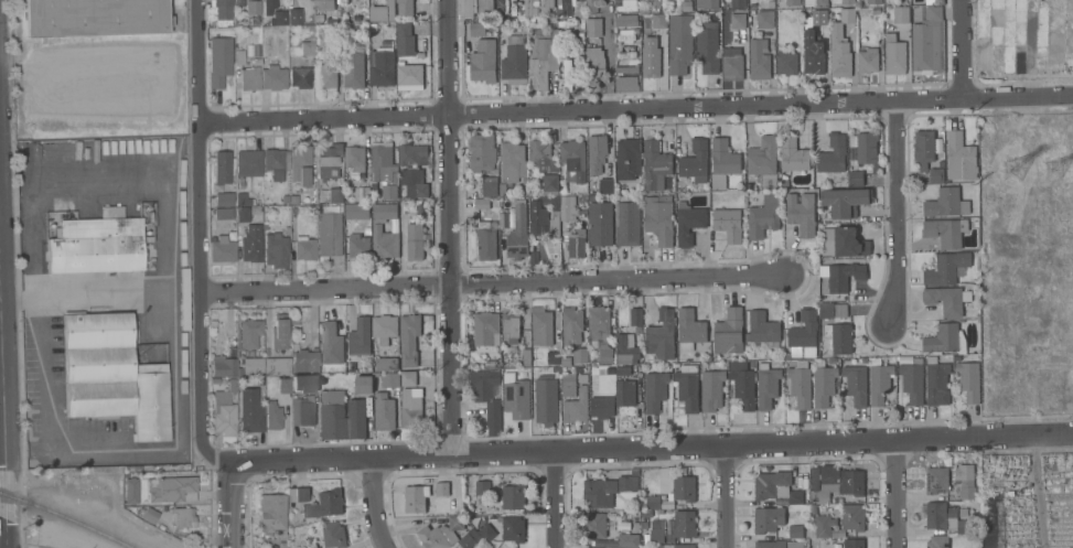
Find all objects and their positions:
building: (822, 1)
building: (848, 1)
building: (238, 2)
building: (793, 2)
building: (875, 2)
building: (707, 3)
building: (326, 4)
building: (739, 4)
building: (627, 6)
building: (253, 7)
building: (269, 7)
building: (502, 7)
building: (530, 7)
building: (565, 7)
building: (591, 7)
building: (405, 8)
building: (470, 8)
building: (485, 8)
building: (547, 8)
building: (382, 10)
building: (221, 12)
building: (901, 14)
building: (294, 15)
building: (94, 17)
building: (278, 18)
building: (819, 18)
building: (763, 19)
building: (626, 21)
building: (738, 21)
building: (593, 28)
building: (653, 28)
building: (478, 29)
building: (627, 35)
building: (405, 39)
building: (926, 43)
building: (680, 44)
building: (841, 45)
building: (707, 46)
building: (308, 47)
building: (627, 51)
road: (962, 51)
building: (239, 54)
building: (813, 55)
building: (894, 55)
road: (608, 56)
building: (595, 60)
building: (759, 60)
building: (219, 61)
building: (868, 61)
building: (483, 62)
building: (513, 63)
building: (651, 63)
building: (786, 63)
building: (732, 64)
building: (353, 66)
building: (540, 66)
building: (626, 66)
building: (383, 71)
building: (569, 75)
building: (409, 76)
building: (273, 77)
building: (300, 77)
building: (250, 78)
building: (325, 79)
building: (627, 83)
road: (635, 111)
building: (865, 149)
building: (482, 152)
building: (540, 152)
building: (597, 153)
building: (793, 154)
building: (833, 154)
building: (931, 154)
building: (961, 157)
building: (355, 158)
building: (382, 159)
building: (629, 159)
building: (695, 159)
building: (329, 160)
building: (573, 160)
building: (763, 160)
building: (248, 162)
building: (276, 162)
building: (514, 162)
building: (722, 162)
building: (302, 163)
building: (655, 165)
building: (223, 168)
power tower: (1058, 170)
building: (412, 171)
power tower: (1023, 172)
building: (856, 176)
building: (551, 182)
building: (683, 183)
building: (607, 185)
building: (485, 186)
building: (389, 191)
building: (362, 194)
building: (335, 195)
building: (224, 198)
building: (845, 202)
building: (945, 203)
building: (568, 207)
building: (357, 211)
building: (107, 212)
building: (384, 212)
building: (224, 213)
building: (801, 213)
building: (242, 214)
building: (554, 214)
road: (897, 215)
building: (764, 216)
building: (538, 218)
building: (659, 218)
building: (601, 224)
building: (627, 224)
building: (689, 224)
building: (729, 224)
road: (451, 225)
building: (330, 230)
building: (947, 230)
building: (518, 233)
road: (200, 238)
building: (415, 241)
building: (486, 241)
building: (384, 243)
building: (849, 243)
building: (251, 244)
building: (577, 244)
building: (96, 245)
building: (358, 246)
building: (224, 247)
building: (304, 247)
building: (828, 248)
building: (276, 250)
building: (947, 268)
building: (844, 275)
road: (492, 283)
building: (184, 298)
building: (947, 300)
building: (833, 310)
building: (636, 316)
building: (601, 324)
building: (571, 325)
building: (541, 326)
building: (511, 327)
building: (762, 327)
building: (384, 329)
building: (486, 329)
building: (689, 329)
building: (279, 332)
building: (729, 332)
building: (249, 333)
building: (662, 335)
building: (804, 335)
building: (360, 337)
building: (409, 337)
building: (839, 337)
building: (945, 340)
building: (331, 343)
building: (626, 350)
building: (533, 355)
building: (580, 355)
building: (605, 355)
building: (526, 357)
building: (304, 361)
building: (386, 363)
building: (253, 365)
building: (277, 365)
building: (223, 366)
building: (112, 375)
road: (1, 378)
building: (408, 378)
building: (389, 379)
building: (913, 380)
building: (968, 380)
building: (856, 382)
building: (879, 382)
building: (304, 383)
building: (363, 384)
building: (800, 384)
building: (823, 384)
building: (937, 384)
building: (285, 385)
building: (568, 385)
road: (41, 386)
building: (766, 386)
building: (687, 387)
building: (743, 388)
building: (712, 389)
building: (655, 390)
building: (625, 393)
building: (515, 396)
building: (487, 397)
building: (546, 399)
road: (2, 400)
building: (577, 405)
building: (602, 407)
building: (410, 409)
building: (250, 410)
building: (384, 410)
building: (302, 412)
building: (224, 415)
building: (273, 415)
building: (343, 417)
road: (651, 445)
building: (936, 480)
building: (965, 481)
building: (838, 483)
building: (770, 484)
building: (482, 487)
building: (684, 487)
building: (171, 488)
building: (441, 488)
building: (131, 490)
building: (607, 490)
road: (1037, 491)
road: (894, 493)
building: (298, 494)
building: (513, 495)
road: (725, 495)
building: (795, 497)
building: (952, 497)
building: (415, 498)
road: (555, 498)
road: (372, 502)
building: (653, 502)
road: (229, 503)
building: (324, 504)
road: (6, 505)
building: (272, 512)
building: (647, 514)
building: (150, 515)
building: (183, 516)
railway: (66, 517)
building: (852, 517)
building: (944, 517)
building: (768, 519)
building: (684, 524)
building: (644, 525)
building: (597, 526)
building: (824, 526)
building: (513, 528)
building: (656, 531)
building: (795, 531)
building: (486, 533)
building: (441, 534)
building: (333, 535)
building: (646, 538)
building: (669, 539)
building: (465, 540)
building: (627, 540)
building: (940, 541)
building: (854, 542)
building: (309, 545)
building: (777, 545)
building: (674, 546)
building: (316, 547)

